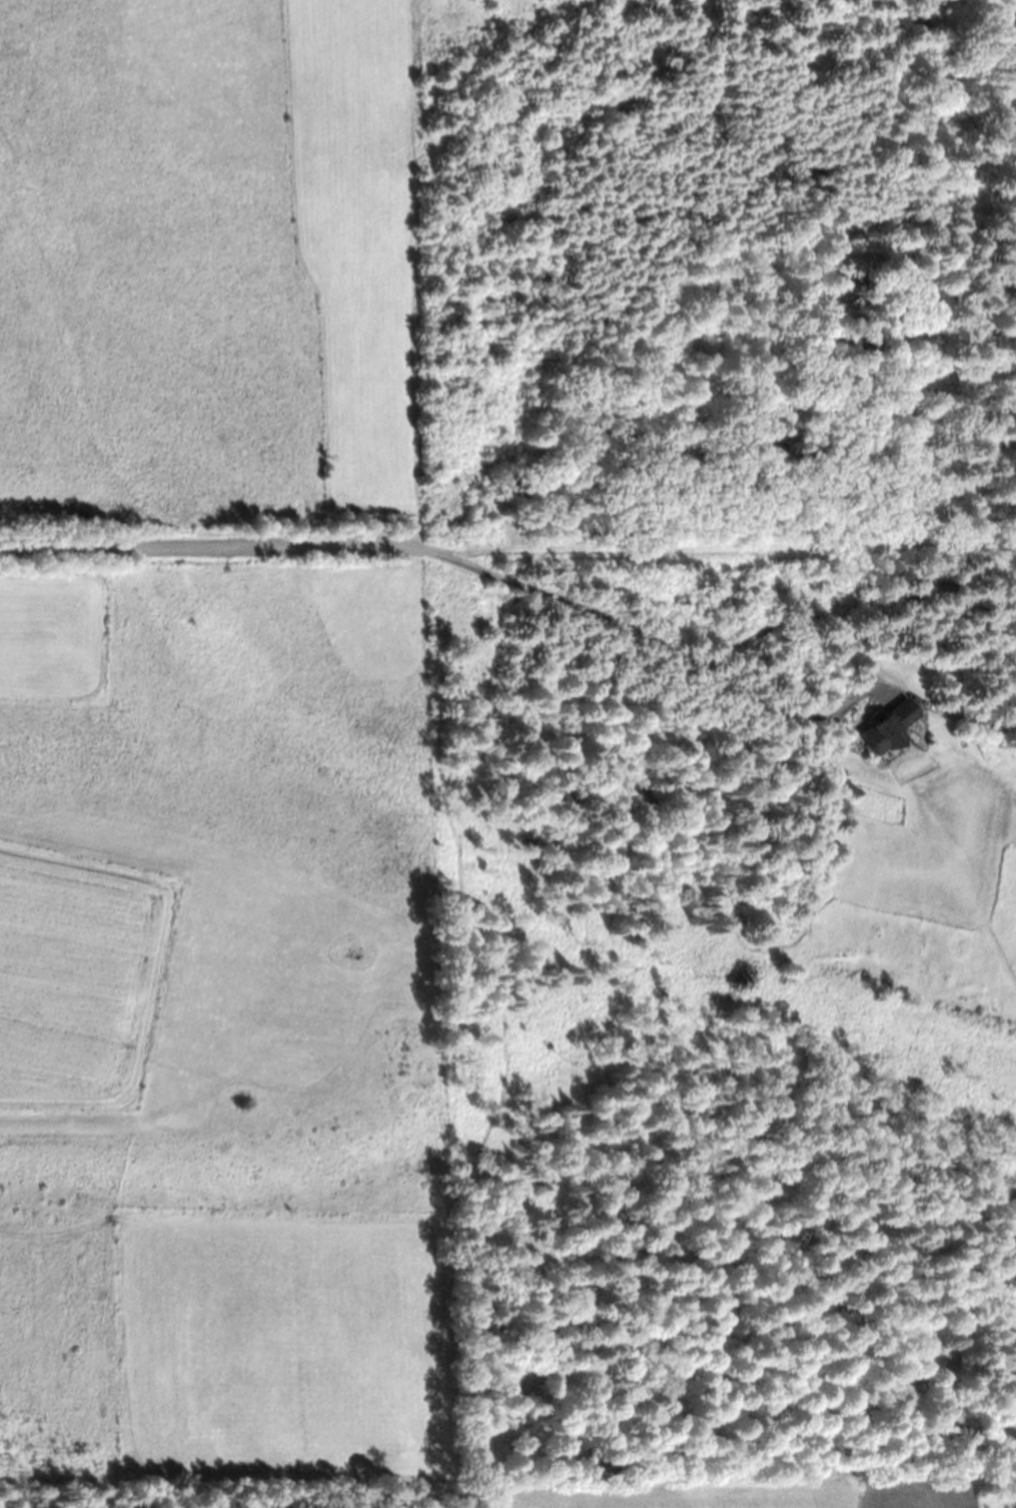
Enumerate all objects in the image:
road: (203, 542)
road: (737, 696)
building: (878, 726)

